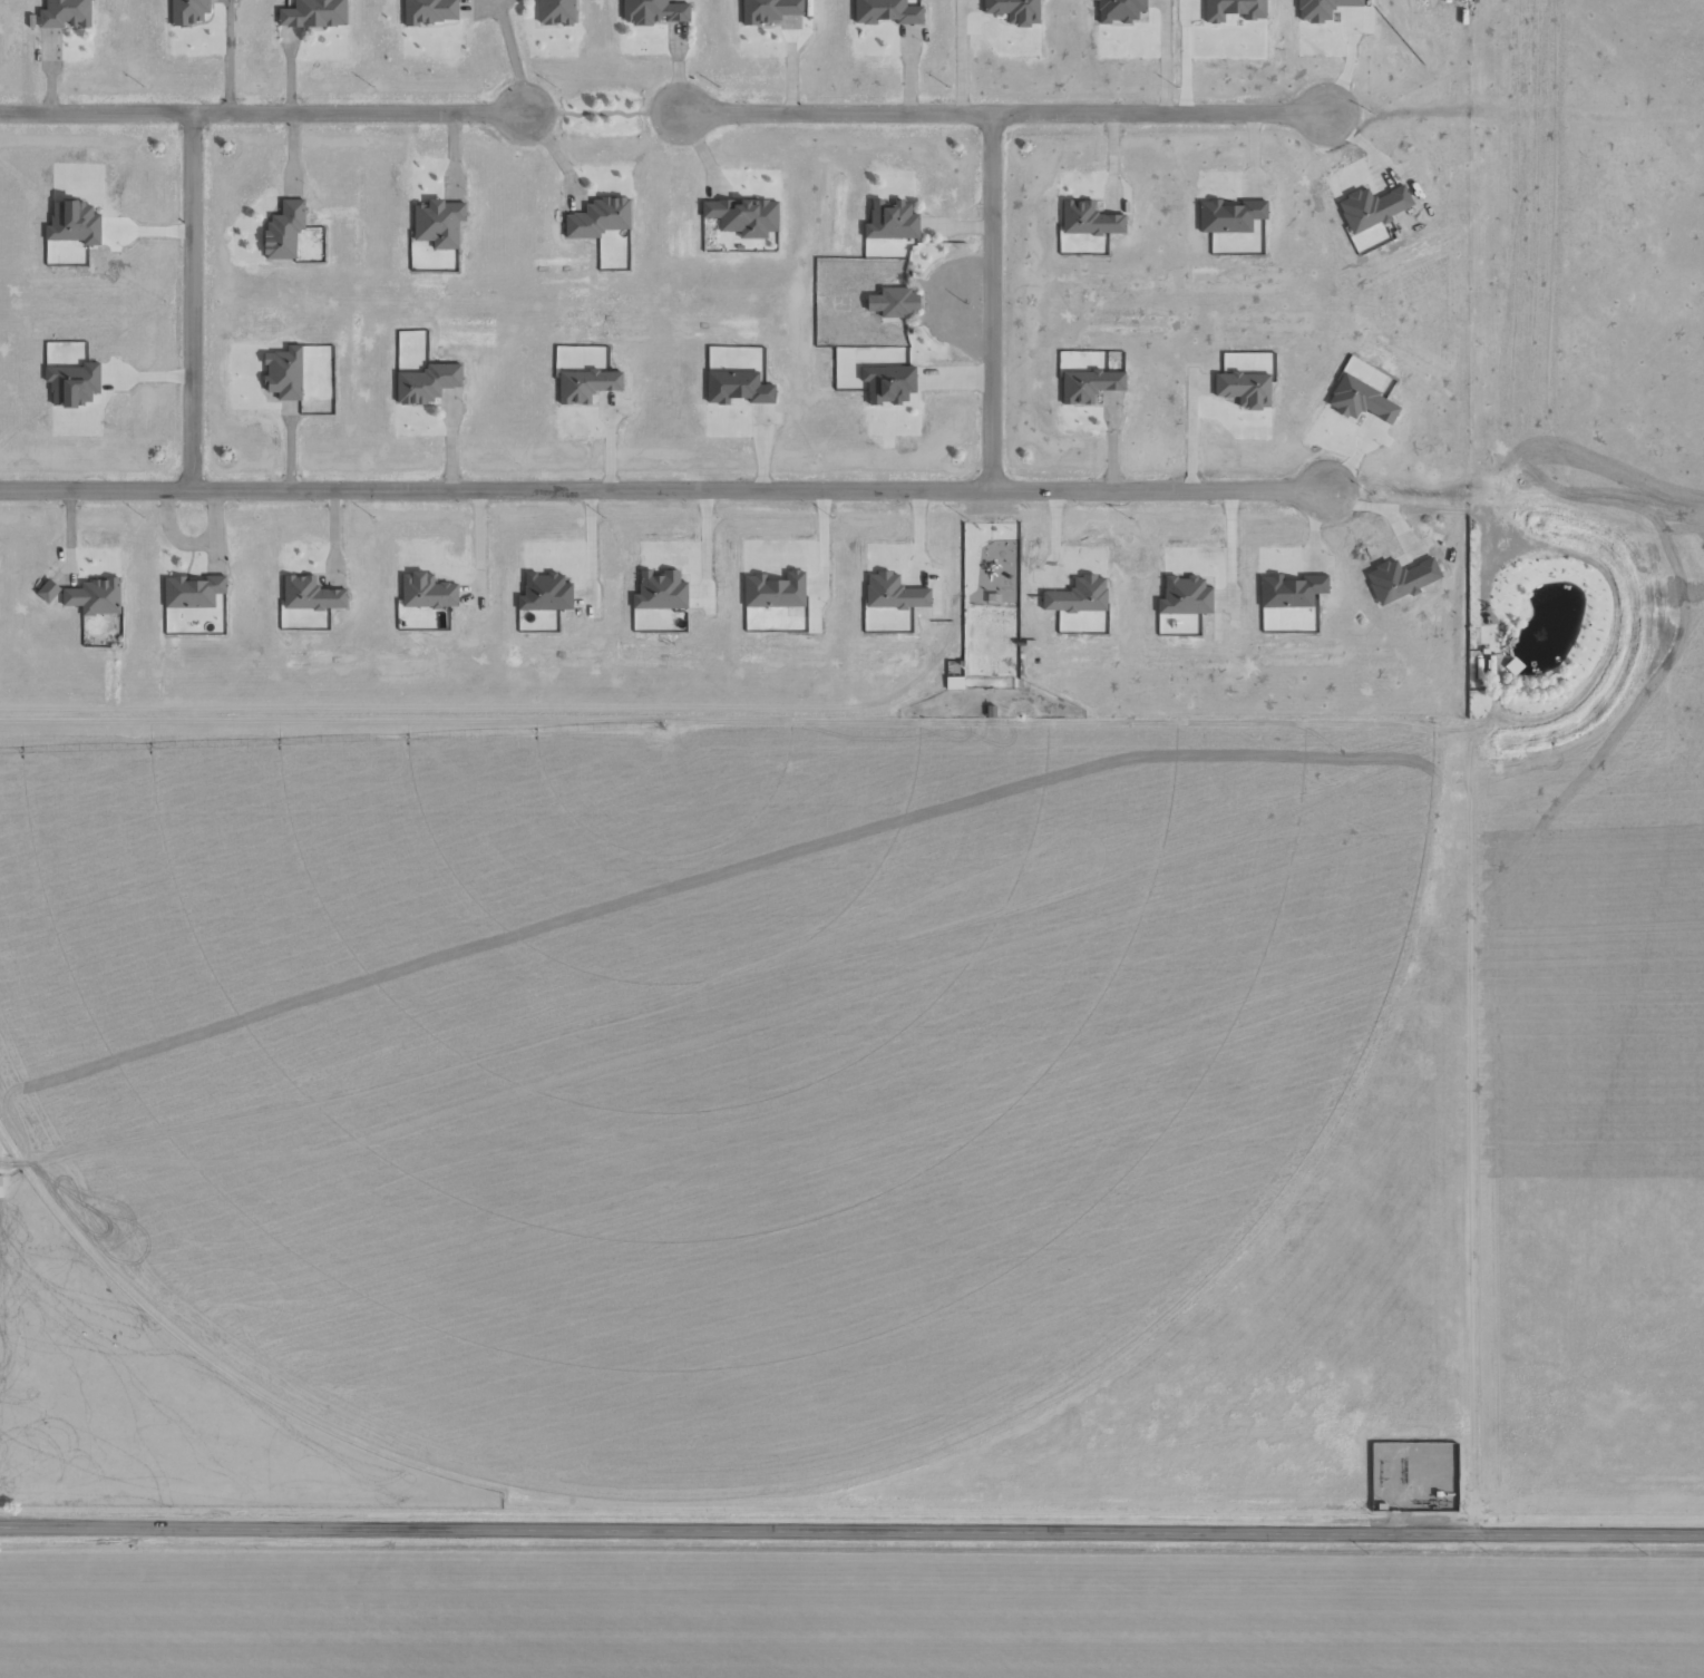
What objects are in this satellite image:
building: (1233, 9)
building: (1321, 9)
building: (768, 10)
building: (1013, 10)
building: (1119, 10)
building: (188, 11)
building: (430, 11)
building: (653, 11)
building: (886, 11)
building: (556, 12)
building: (65, 13)
building: (313, 13)
road: (999, 110)
road: (601, 113)
road: (263, 114)
building: (1229, 215)
building: (743, 216)
building: (597, 217)
building: (1088, 219)
building: (890, 221)
building: (74, 223)
building: (438, 223)
building: (284, 230)
building: (894, 302)
road: (996, 303)
road: (185, 308)
building: (284, 373)
building: (427, 382)
building: (887, 383)
building: (74, 384)
building: (585, 384)
building: (1088, 384)
building: (737, 388)
building: (1244, 389)
building: (1360, 400)
road: (665, 497)
building: (47, 591)
building: (426, 591)
building: (660, 591)
building: (773, 591)
building: (1289, 591)
building: (192, 592)
building: (545, 593)
building: (893, 593)
building: (311, 594)
building: (1078, 595)
building: (94, 596)
building: (1185, 596)
road: (966, 605)
road: (851, 1530)

